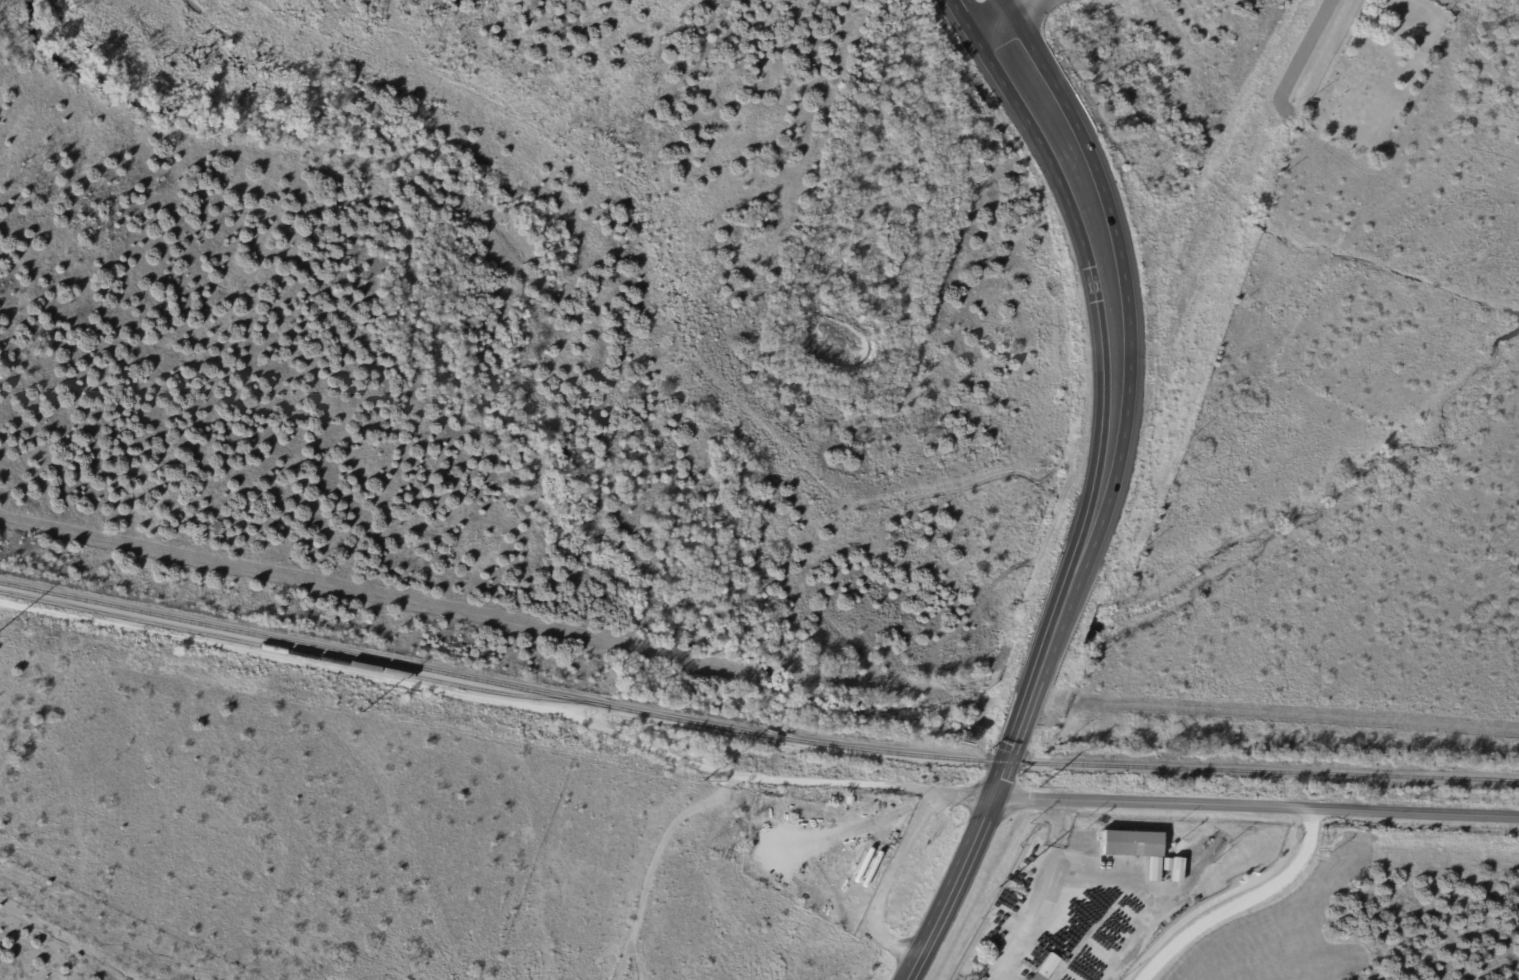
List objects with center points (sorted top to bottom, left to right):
road: (1417, 2)
road: (999, 15)
building: (1411, 46)
road: (1303, 50)
road: (1023, 53)
road: (993, 56)
park: (1373, 74)
road: (1303, 122)
road: (1111, 456)
railway: (303, 655)
railway: (752, 734)
road: (839, 785)
road: (906, 806)
road: (1254, 806)
road: (1301, 829)
building: (1131, 844)
road: (652, 862)
road: (899, 862)
building: (1166, 865)
building: (1175, 869)
road: (947, 889)
road: (1029, 892)
road: (1238, 901)
road: (1212, 902)
building: (1045, 968)

